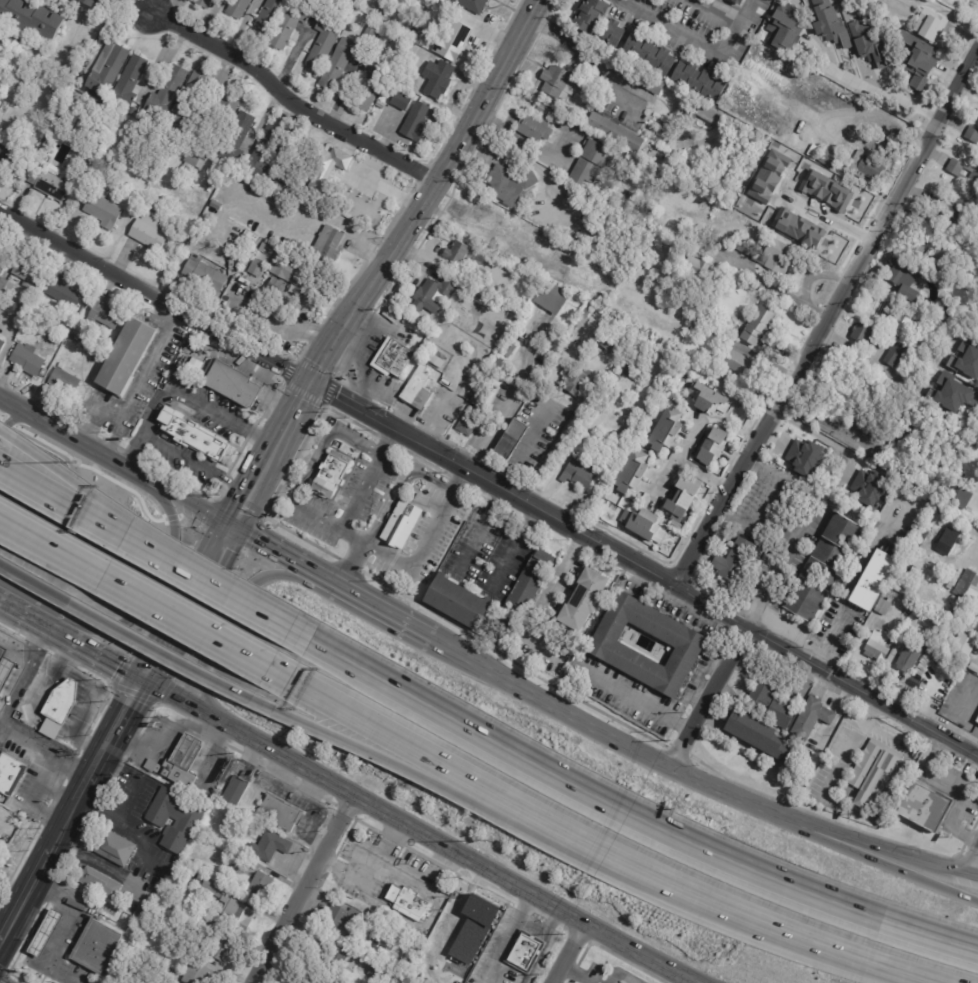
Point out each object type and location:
building: (738, 1)
building: (868, 1)
building: (91, 3)
building: (202, 3)
road: (162, 5)
building: (472, 5)
building: (237, 9)
building: (590, 14)
building: (268, 16)
building: (29, 19)
building: (873, 21)
building: (829, 24)
road: (240, 25)
building: (287, 25)
building: (931, 25)
building: (784, 26)
building: (611, 32)
building: (368, 33)
building: (417, 38)
park: (71, 41)
building: (323, 42)
building: (451, 42)
building: (870, 46)
road: (706, 48)
building: (409, 52)
building: (648, 52)
road: (163, 54)
road: (589, 56)
building: (427, 58)
building: (916, 59)
road: (289, 60)
building: (902, 61)
building: (339, 63)
building: (404, 64)
building: (104, 72)
building: (397, 75)
building: (641, 76)
building: (699, 80)
building: (558, 81)
building: (128, 83)
building: (371, 83)
building: (436, 83)
road: (875, 89)
building: (165, 93)
road: (341, 96)
road: (288, 99)
building: (182, 102)
building: (1, 104)
building: (227, 108)
building: (404, 108)
building: (543, 109)
building: (792, 109)
road: (874, 110)
building: (709, 113)
road: (264, 114)
building: (555, 114)
building: (415, 122)
building: (533, 127)
building: (614, 131)
building: (972, 134)
building: (0, 139)
building: (235, 140)
building: (49, 152)
building: (5, 154)
building: (829, 157)
building: (613, 158)
building: (264, 160)
building: (191, 161)
building: (589, 162)
building: (865, 165)
building: (326, 169)
road: (442, 169)
building: (973, 175)
building: (45, 184)
building: (509, 184)
building: (826, 187)
building: (724, 206)
building: (158, 210)
building: (102, 211)
building: (951, 211)
building: (484, 216)
road: (827, 217)
parking lot: (251, 221)
road: (286, 230)
building: (149, 234)
building: (950, 238)
building: (499, 243)
building: (919, 243)
building: (325, 246)
building: (747, 246)
building: (1, 247)
building: (1, 251)
building: (266, 251)
building: (457, 253)
building: (558, 253)
building: (943, 255)
building: (777, 256)
building: (636, 264)
building: (0, 267)
building: (695, 267)
building: (285, 269)
building: (521, 271)
road: (176, 272)
building: (24, 274)
building: (202, 275)
building: (902, 277)
building: (274, 284)
building: (3, 290)
building: (60, 294)
building: (433, 296)
building: (550, 297)
building: (22, 307)
building: (477, 310)
building: (586, 313)
building: (103, 315)
road: (826, 317)
parking lot: (265, 319)
road: (217, 323)
building: (900, 324)
building: (699, 325)
building: (759, 325)
building: (97, 329)
road: (323, 331)
building: (863, 334)
building: (932, 334)
building: (603, 341)
building: (98, 344)
building: (1, 345)
building: (508, 350)
building: (892, 355)
building: (126, 358)
building: (392, 358)
building: (968, 359)
gas station: (391, 360)
road: (868, 360)
building: (733, 361)
building: (25, 362)
building: (498, 362)
building: (193, 367)
building: (620, 372)
building: (576, 380)
building: (63, 381)
traffic signals: (309, 381)
road: (134, 389)
building: (227, 389)
building: (417, 389)
building: (954, 393)
building: (480, 397)
road: (512, 397)
building: (707, 399)
road: (150, 404)
road: (224, 417)
building: (469, 421)
road: (282, 429)
building: (665, 429)
road: (114, 433)
building: (191, 434)
road: (817, 435)
building: (511, 440)
road: (75, 441)
road: (359, 442)
road: (523, 446)
building: (713, 446)
road: (133, 452)
building: (796, 452)
road: (195, 463)
road: (676, 463)
building: (629, 471)
road: (405, 473)
building: (580, 473)
building: (330, 474)
road: (703, 476)
road: (488, 482)
building: (969, 484)
road: (299, 487)
building: (868, 487)
road: (359, 489)
road: (79, 492)
building: (956, 495)
building: (681, 500)
road: (190, 505)
road: (79, 510)
building: (401, 523)
building: (642, 524)
traffic signals: (229, 527)
road: (476, 529)
parking lot: (54, 530)
road: (371, 530)
building: (947, 542)
road: (270, 549)
road: (512, 549)
building: (734, 561)
road: (415, 566)
building: (822, 568)
building: (873, 581)
road: (30, 583)
building: (968, 586)
road: (146, 587)
road: (766, 590)
road: (234, 597)
building: (520, 597)
building: (584, 600)
building: (457, 602)
road: (545, 603)
road: (142, 604)
road: (372, 606)
building: (883, 606)
road: (26, 616)
road: (229, 620)
road: (12, 628)
building: (940, 636)
road: (830, 639)
road: (36, 640)
building: (686, 645)
building: (877, 646)
building: (911, 653)
road: (164, 656)
road: (98, 657)
road: (81, 665)
building: (4, 666)
gas station: (4, 666)
road: (25, 673)
traffic signals: (143, 683)
road: (140, 687)
road: (135, 694)
building: (62, 696)
road: (707, 699)
road: (646, 706)
road: (172, 708)
building: (25, 713)
building: (763, 720)
building: (977, 720)
building: (811, 721)
road: (207, 729)
road: (166, 735)
building: (829, 735)
road: (46, 742)
road: (619, 744)
road: (848, 746)
building: (182, 761)
road: (388, 761)
building: (9, 773)
road: (279, 774)
building: (873, 774)
building: (782, 785)
building: (236, 790)
building: (923, 808)
road: (344, 811)
building: (280, 812)
building: (174, 818)
building: (882, 818)
road: (632, 820)
road: (366, 824)
road: (127, 829)
road: (417, 832)
road: (391, 839)
building: (113, 847)
building: (268, 848)
road: (598, 852)
road: (896, 854)
road: (98, 862)
road: (434, 862)
road: (973, 865)
building: (242, 867)
road: (895, 869)
road: (406, 873)
road: (370, 874)
building: (99, 882)
building: (258, 885)
road: (477, 885)
road: (302, 889)
road: (26, 894)
road: (504, 896)
building: (408, 902)
building: (231, 905)
road: (526, 906)
building: (185, 908)
road: (540, 913)
building: (200, 919)
building: (341, 919)
road: (552, 920)
road: (552, 920)
road: (562, 927)
road: (66, 929)
building: (43, 931)
gas station: (43, 931)
road: (577, 935)
road: (509, 938)
road: (546, 942)
building: (94, 944)
building: (451, 944)
building: (220, 946)
building: (526, 951)
road: (568, 953)
road: (626, 961)
building: (336, 962)
building: (194, 972)
building: (382, 974)
building: (170, 981)

